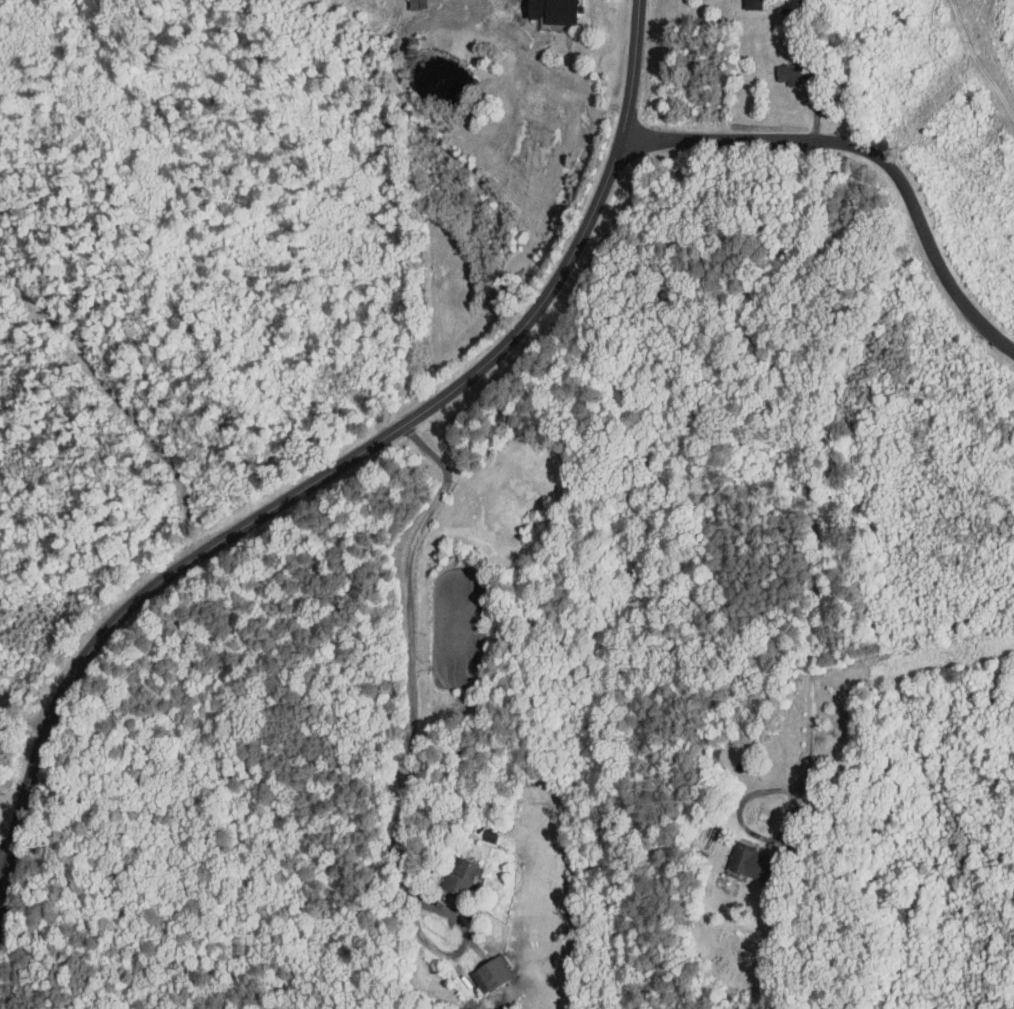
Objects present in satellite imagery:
building: (408, 1)
building: (739, 1)
building: (539, 8)
building: (776, 68)
road: (878, 152)
road: (341, 462)
road: (815, 468)
road: (414, 732)
building: (736, 855)
road: (4, 856)
building: (449, 870)
building: (478, 967)

